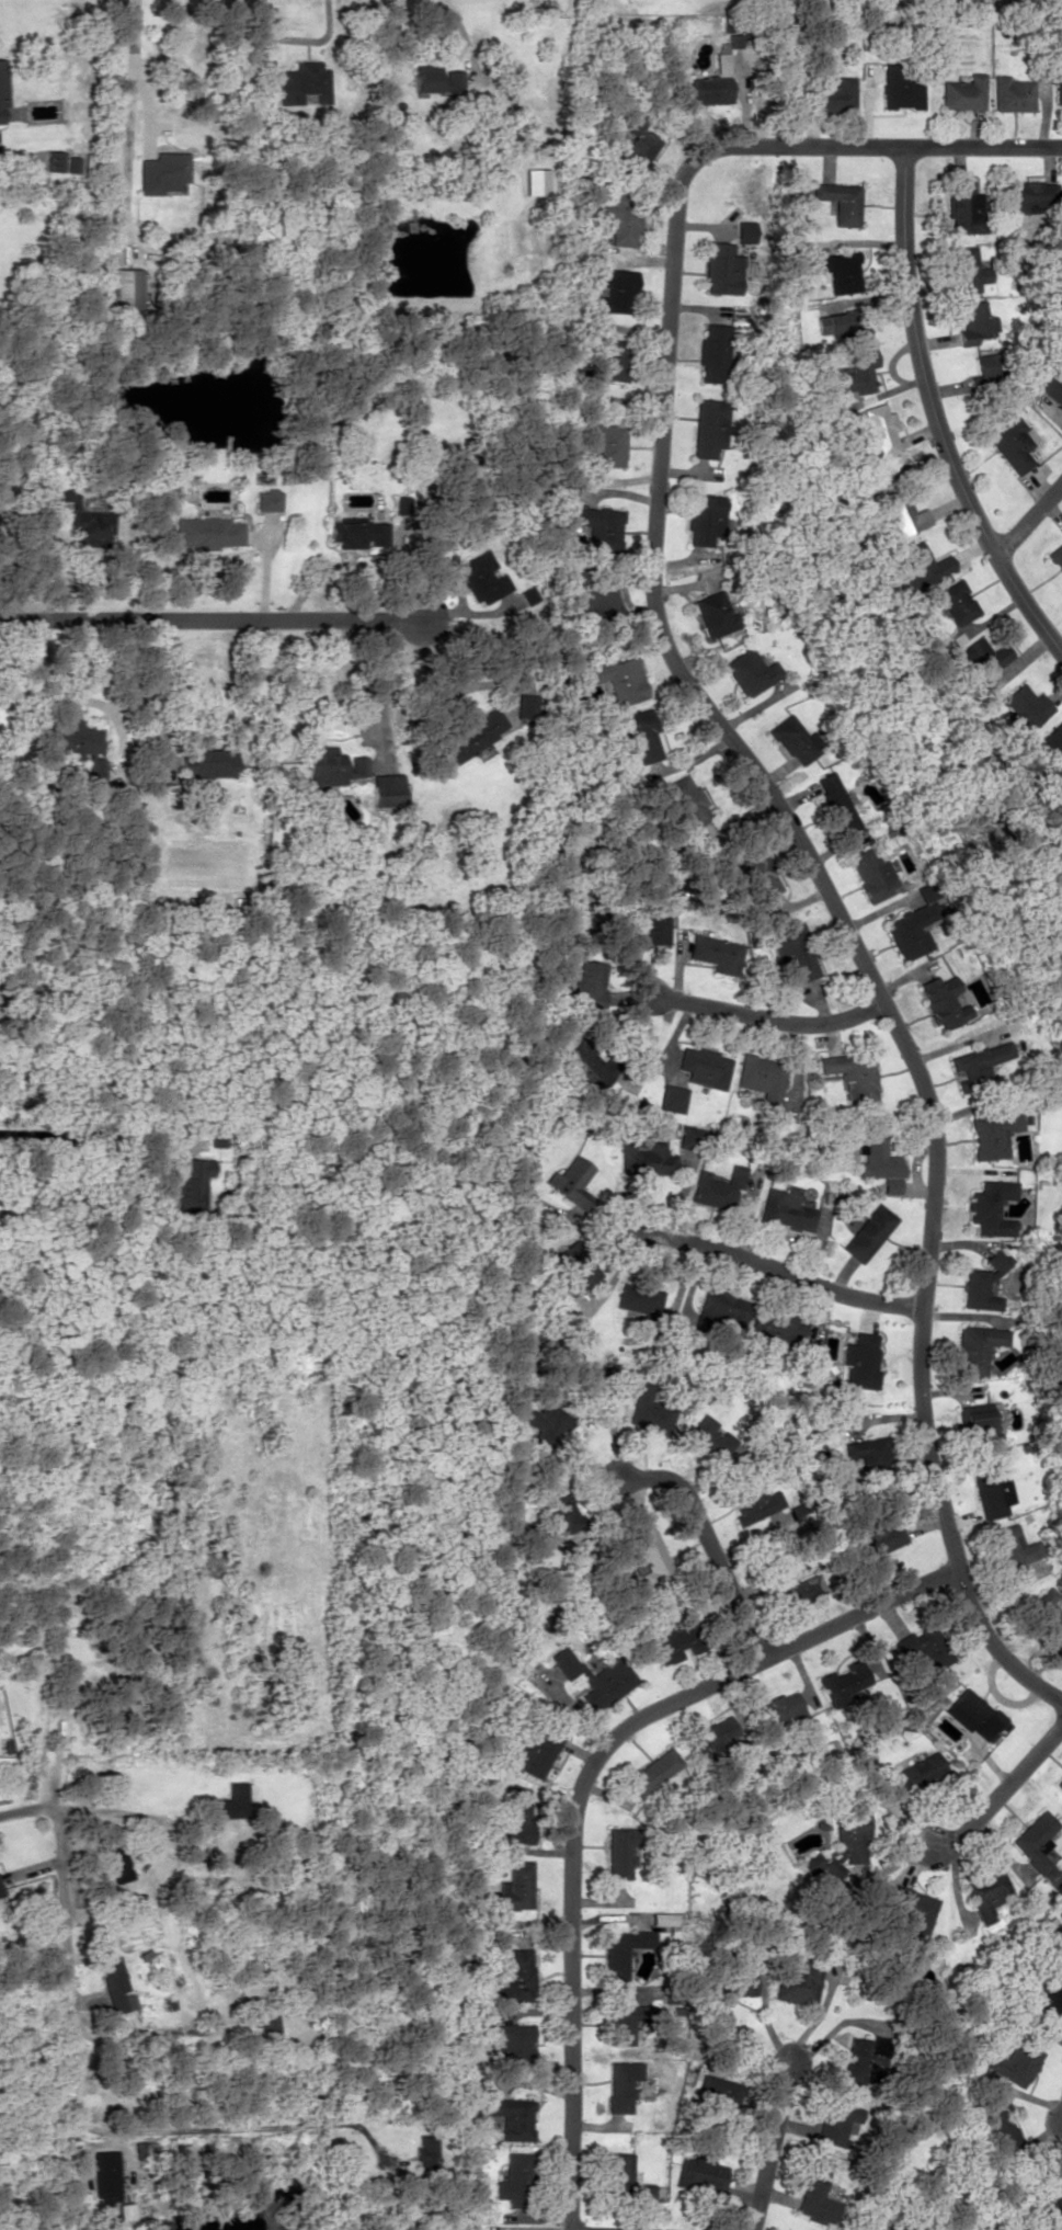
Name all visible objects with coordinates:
building: (438, 80)
building: (302, 82)
building: (901, 87)
building: (704, 91)
building: (2, 92)
building: (964, 92)
building: (1058, 92)
building: (829, 93)
building: (1012, 93)
building: (635, 140)
building: (54, 160)
building: (71, 163)
building: (161, 172)
building: (535, 181)
building: (1031, 193)
building: (841, 201)
building: (963, 207)
building: (620, 215)
building: (722, 269)
building: (968, 269)
building: (840, 270)
building: (121, 287)
building: (613, 293)
building: (974, 322)
building: (845, 326)
building: (715, 352)
building: (609, 359)
building: (989, 368)
building: (857, 373)
building: (1051, 389)
road: (933, 416)
building: (709, 426)
building: (878, 428)
building: (1014, 443)
building: (604, 446)
building: (1, 480)
building: (267, 499)
building: (81, 512)
building: (904, 515)
building: (706, 517)
road: (1028, 517)
building: (599, 526)
building: (208, 531)
building: (358, 532)
building: (1055, 555)
building: (922, 565)
building: (479, 577)
building: (599, 603)
building: (953, 603)
building: (715, 614)
road: (216, 621)
building: (983, 656)
building: (751, 671)
building: (620, 678)
building: (526, 705)
building: (1024, 705)
building: (639, 733)
building: (472, 735)
building: (72, 737)
building: (795, 739)
building: (1053, 740)
building: (208, 762)
building: (333, 766)
building: (94, 769)
road: (754, 771)
building: (387, 790)
building: (684, 800)
building: (837, 805)
building: (756, 871)
building: (871, 874)
building: (913, 923)
building: (649, 926)
building: (793, 952)
building: (716, 953)
building: (585, 986)
building: (943, 1001)
road: (768, 1020)
building: (977, 1062)
building: (704, 1066)
building: (585, 1067)
building: (852, 1072)
building: (761, 1073)
building: (672, 1097)
building: (216, 1133)
building: (992, 1133)
building: (689, 1136)
building: (646, 1159)
building: (571, 1180)
building: (191, 1184)
building: (717, 1188)
building: (990, 1207)
building: (785, 1209)
building: (868, 1232)
building: (575, 1266)
road: (781, 1273)
building: (982, 1283)
building: (638, 1299)
building: (721, 1308)
building: (777, 1328)
building: (977, 1347)
building: (861, 1359)
building: (649, 1411)
building: (974, 1420)
building: (545, 1422)
building: (708, 1436)
building: (865, 1449)
building: (991, 1492)
building: (755, 1501)
building: (563, 1512)
building: (877, 1540)
road: (710, 1541)
building: (1012, 1546)
building: (650, 1550)
building: (795, 1586)
building: (1046, 1611)
building: (674, 1641)
building: (925, 1648)
building: (593, 1677)
building: (842, 1681)
building: (776, 1710)
building: (974, 1715)
building: (710, 1734)
building: (537, 1751)
building: (651, 1771)
building: (916, 1772)
building: (1059, 1783)
road: (579, 1786)
road: (1001, 1787)
building: (227, 1801)
building: (516, 1818)
building: (1035, 1840)
building: (619, 1851)
building: (117, 1863)
building: (511, 1888)
building: (0, 1891)
building: (987, 1893)
building: (915, 1912)
building: (662, 1918)
building: (624, 1950)
road: (62, 1953)
building: (736, 1973)
building: (515, 1975)
building: (799, 1981)
building: (115, 1984)
building: (1043, 2007)
building: (628, 2019)
building: (266, 2023)
building: (513, 2041)
building: (858, 2057)
building: (1014, 2062)
building: (618, 2087)
building: (718, 2097)
building: (511, 2117)
building: (997, 2121)
building: (835, 2123)
road: (770, 2144)
building: (142, 2149)
building: (423, 2150)
building: (619, 2169)
building: (700, 2174)
building: (104, 2175)
building: (513, 2177)
building: (643, 2193)
building: (815, 2200)
building: (859, 2228)

